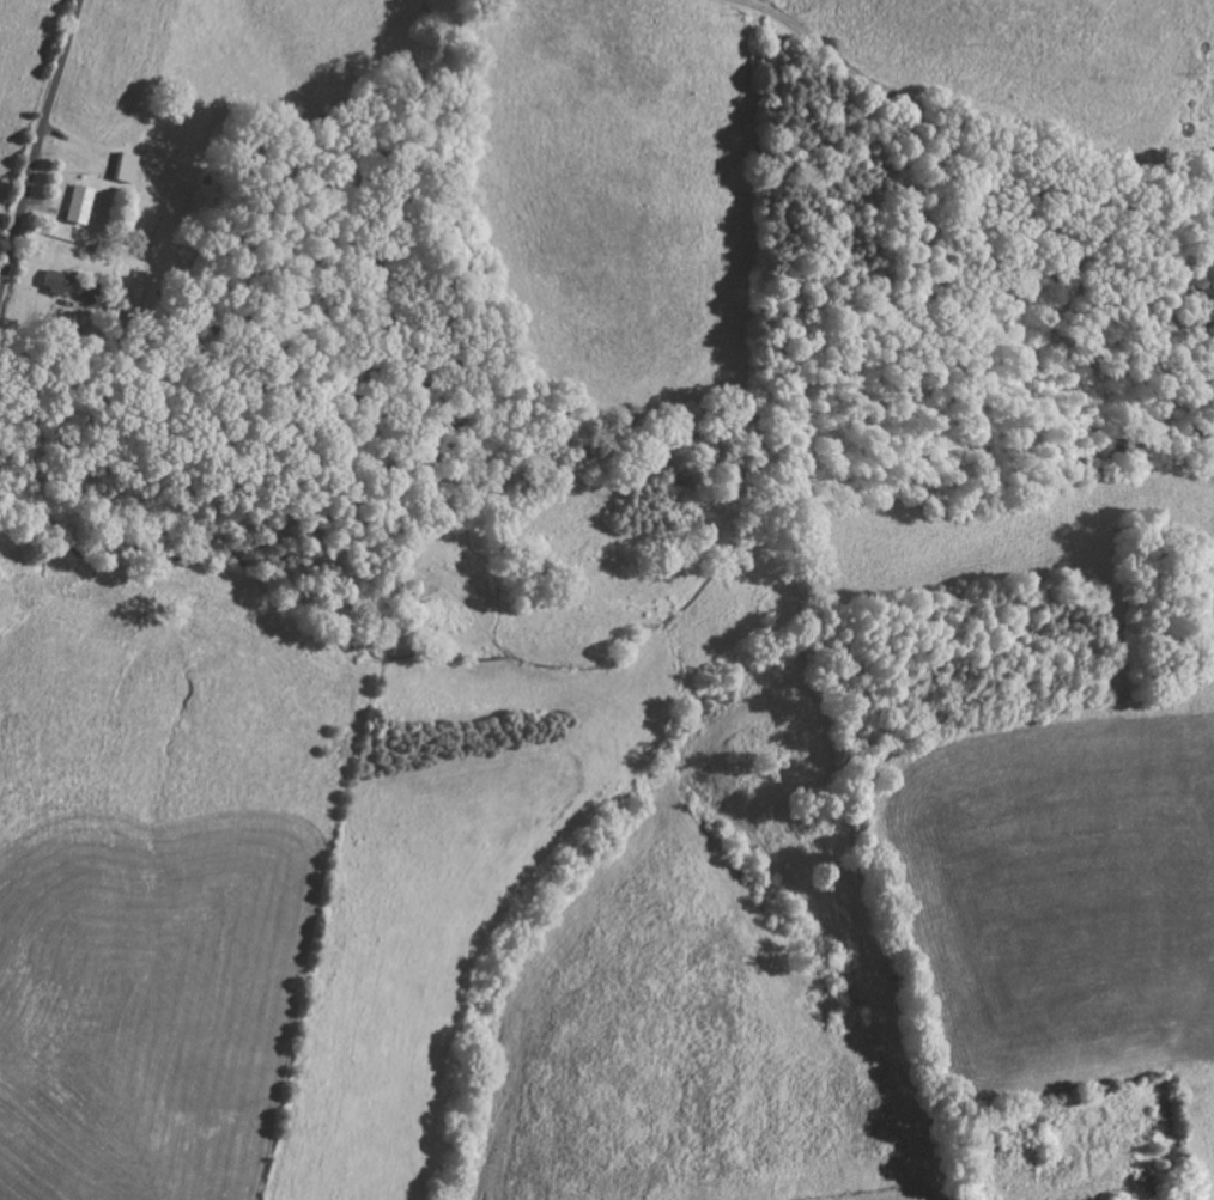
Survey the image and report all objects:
road: (963, 117)
road: (40, 144)
building: (123, 170)
building: (78, 208)
building: (55, 286)

